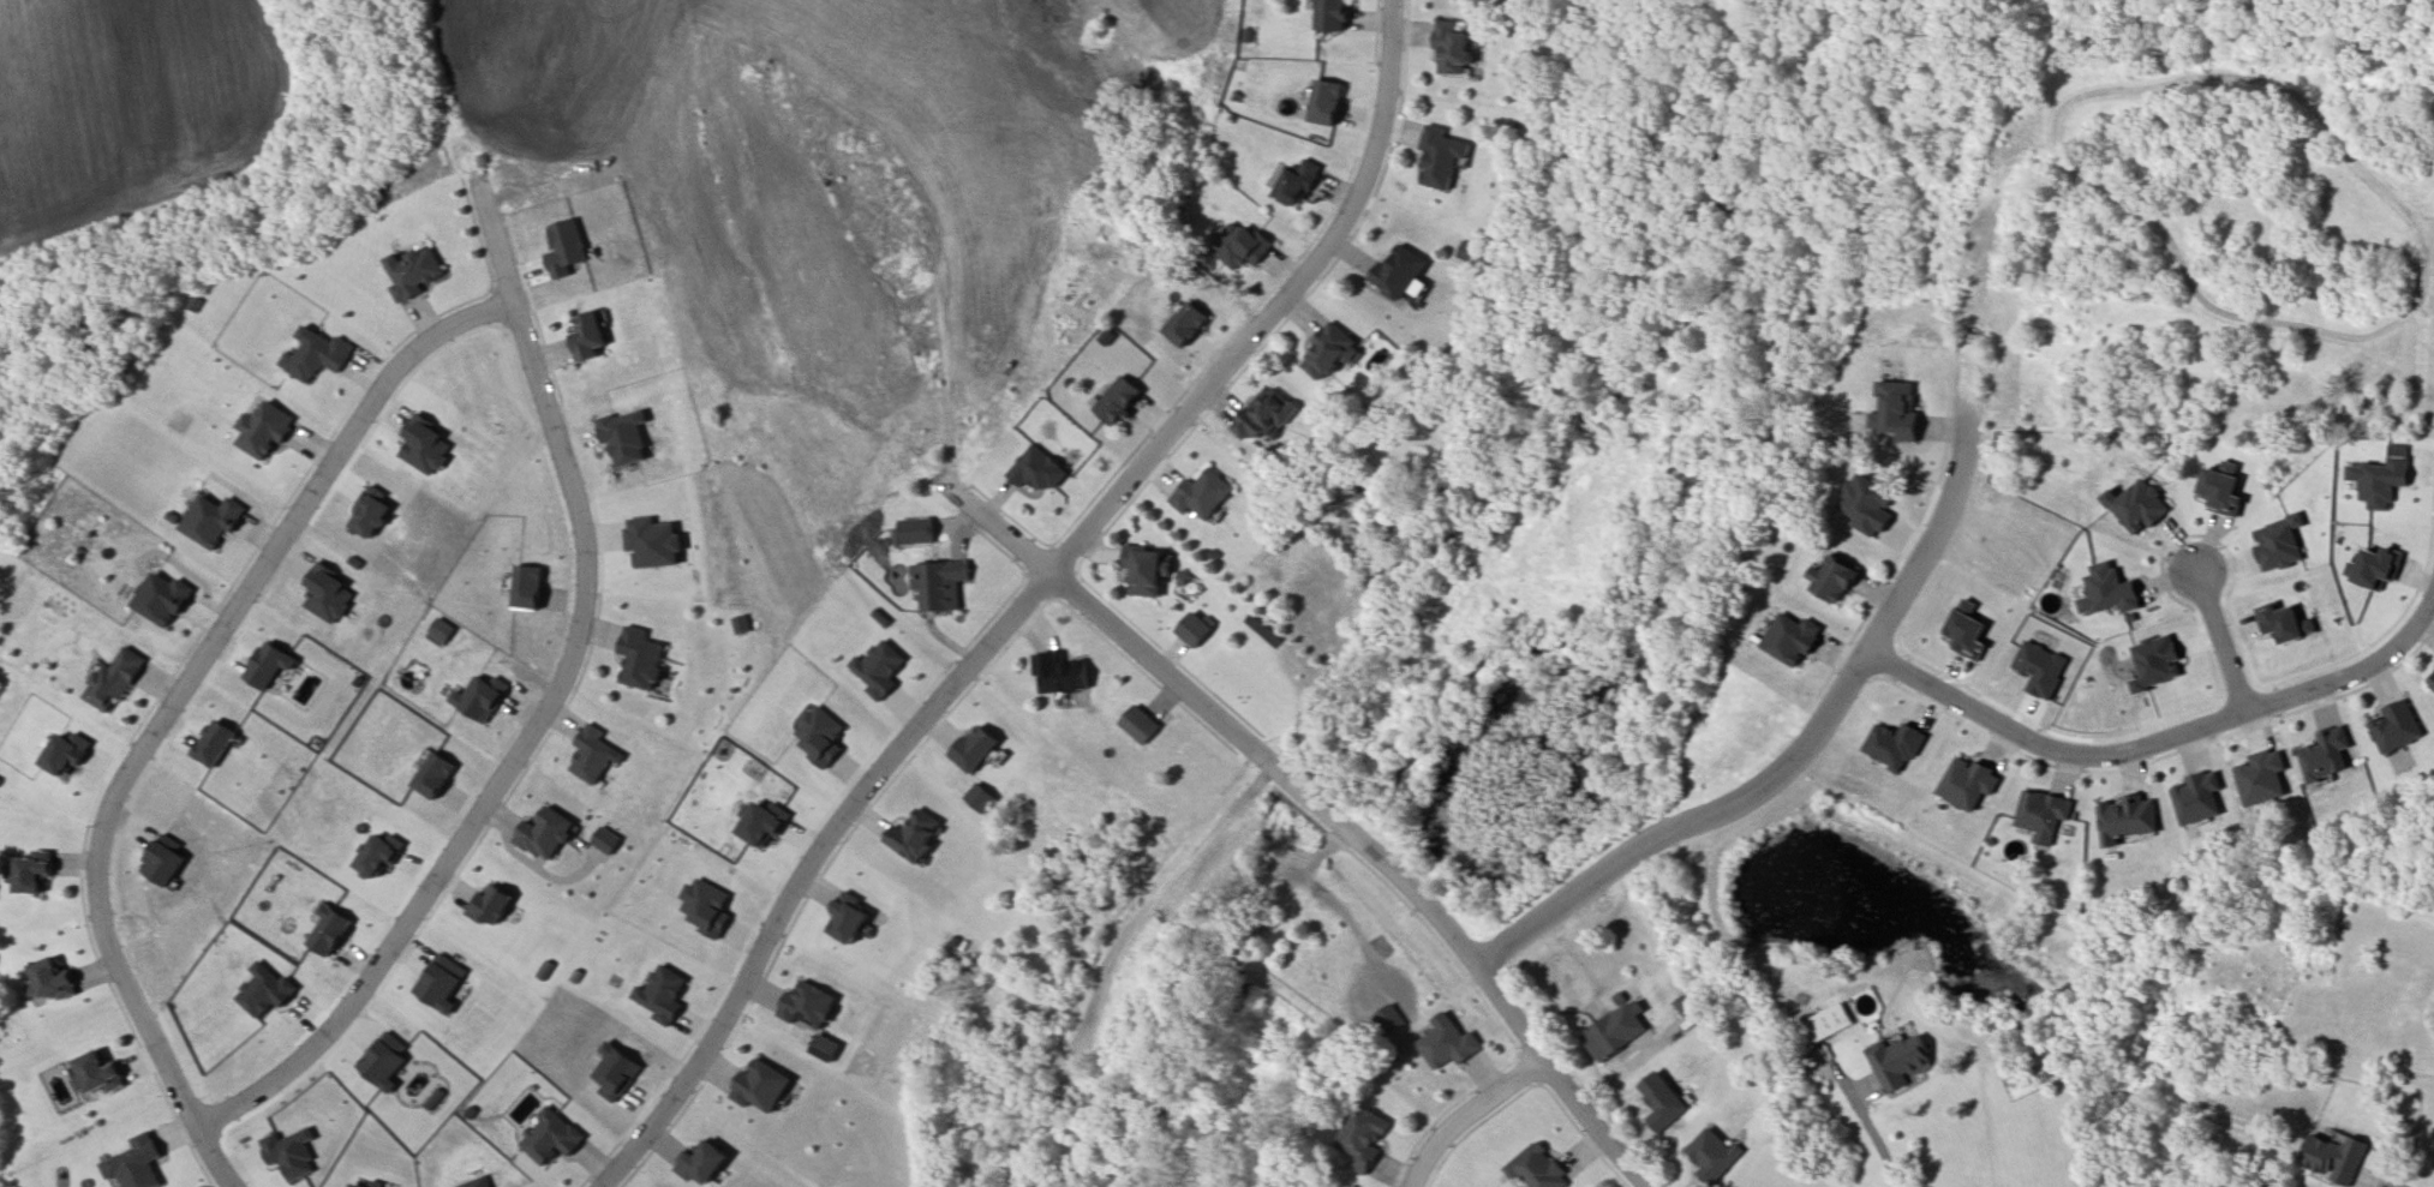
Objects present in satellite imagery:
building: (1333, 12)
building: (1452, 42)
road: (2081, 95)
crop: (849, 103)
crop: (130, 107)
building: (1442, 157)
building: (1299, 180)
park: (2022, 193)
road: (2429, 269)
building: (1400, 271)
building: (415, 272)
building: (590, 336)
building: (1107, 338)
building: (1330, 355)
building: (315, 358)
building: (1118, 400)
building: (1263, 418)
building: (1039, 473)
building: (1203, 496)
building: (210, 520)
building: (917, 533)
building: (1144, 570)
building: (1182, 578)
building: (1834, 578)
building: (939, 587)
building: (162, 599)
road: (1033, 604)
road: (2221, 640)
building: (642, 657)
road: (197, 672)
building: (1060, 672)
building: (115, 677)
building: (2432, 684)
road: (546, 706)
building: (1140, 724)
building: (2398, 733)
road: (2161, 737)
road: (1810, 741)
building: (2328, 753)
road: (1318, 811)
building: (2044, 814)
building: (2129, 819)
road: (1144, 906)
building: (1679, 1005)
building: (1826, 1023)
building: (1614, 1031)
building: (1445, 1045)
building: (1902, 1059)
building: (100, 1074)
building: (763, 1081)
building: (1659, 1102)
road: (1465, 1114)
road: (1865, 1122)
building: (1362, 1135)
building: (1712, 1155)
building: (2336, 1155)
road: (219, 1157)
building: (704, 1161)
building: (1537, 1169)

